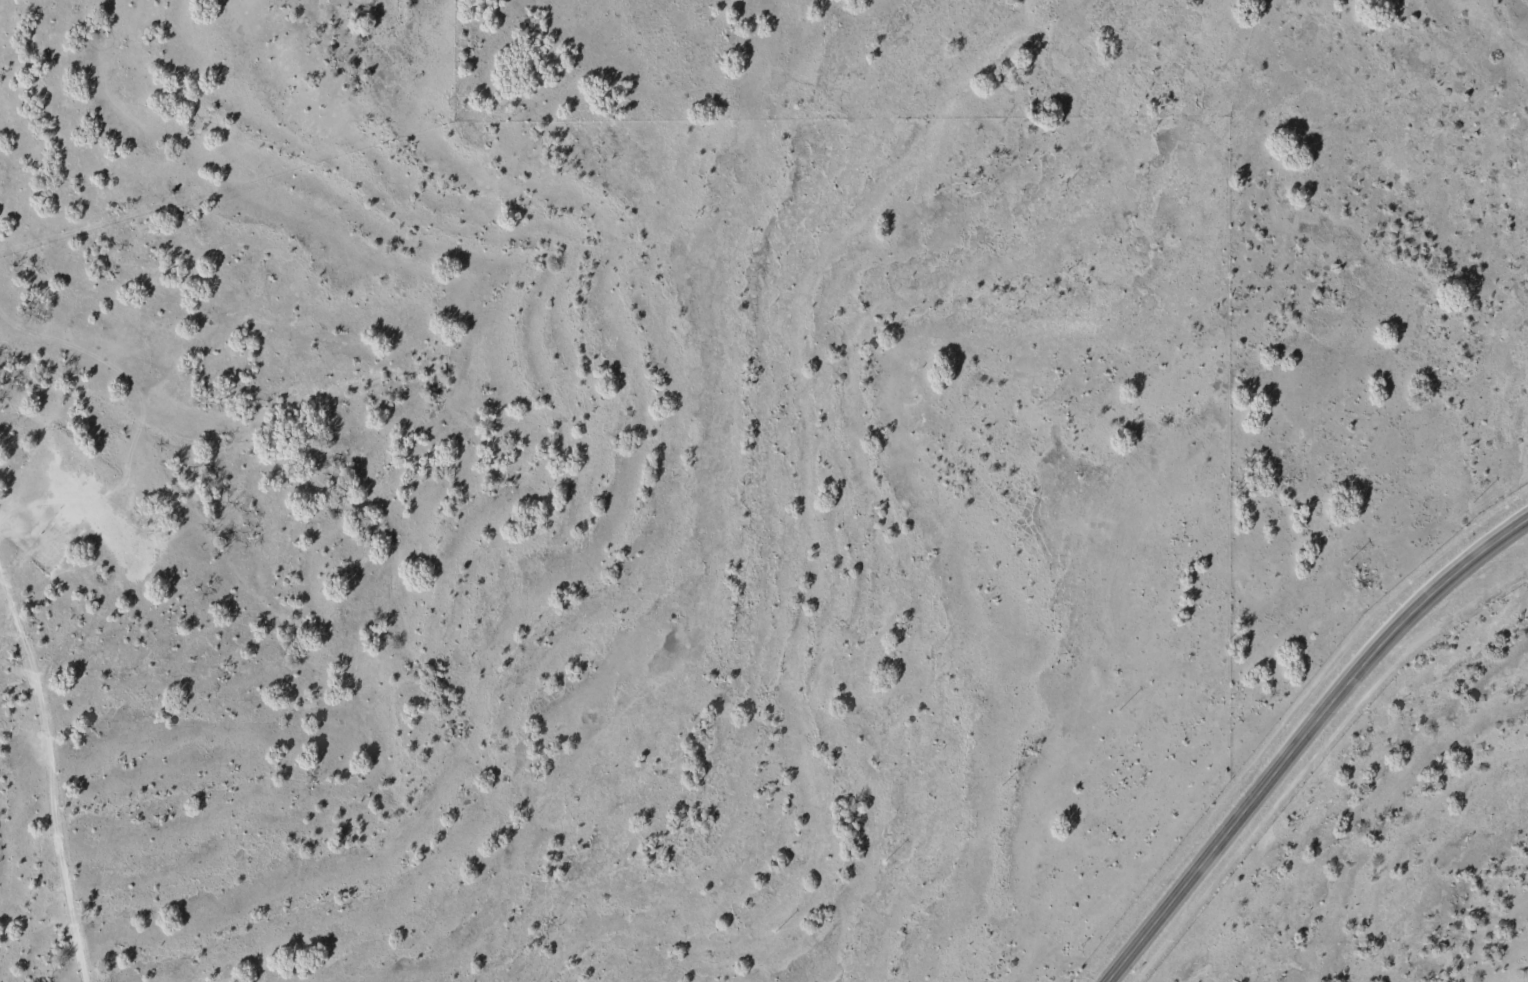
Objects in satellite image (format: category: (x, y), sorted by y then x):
road: (1311, 739)

